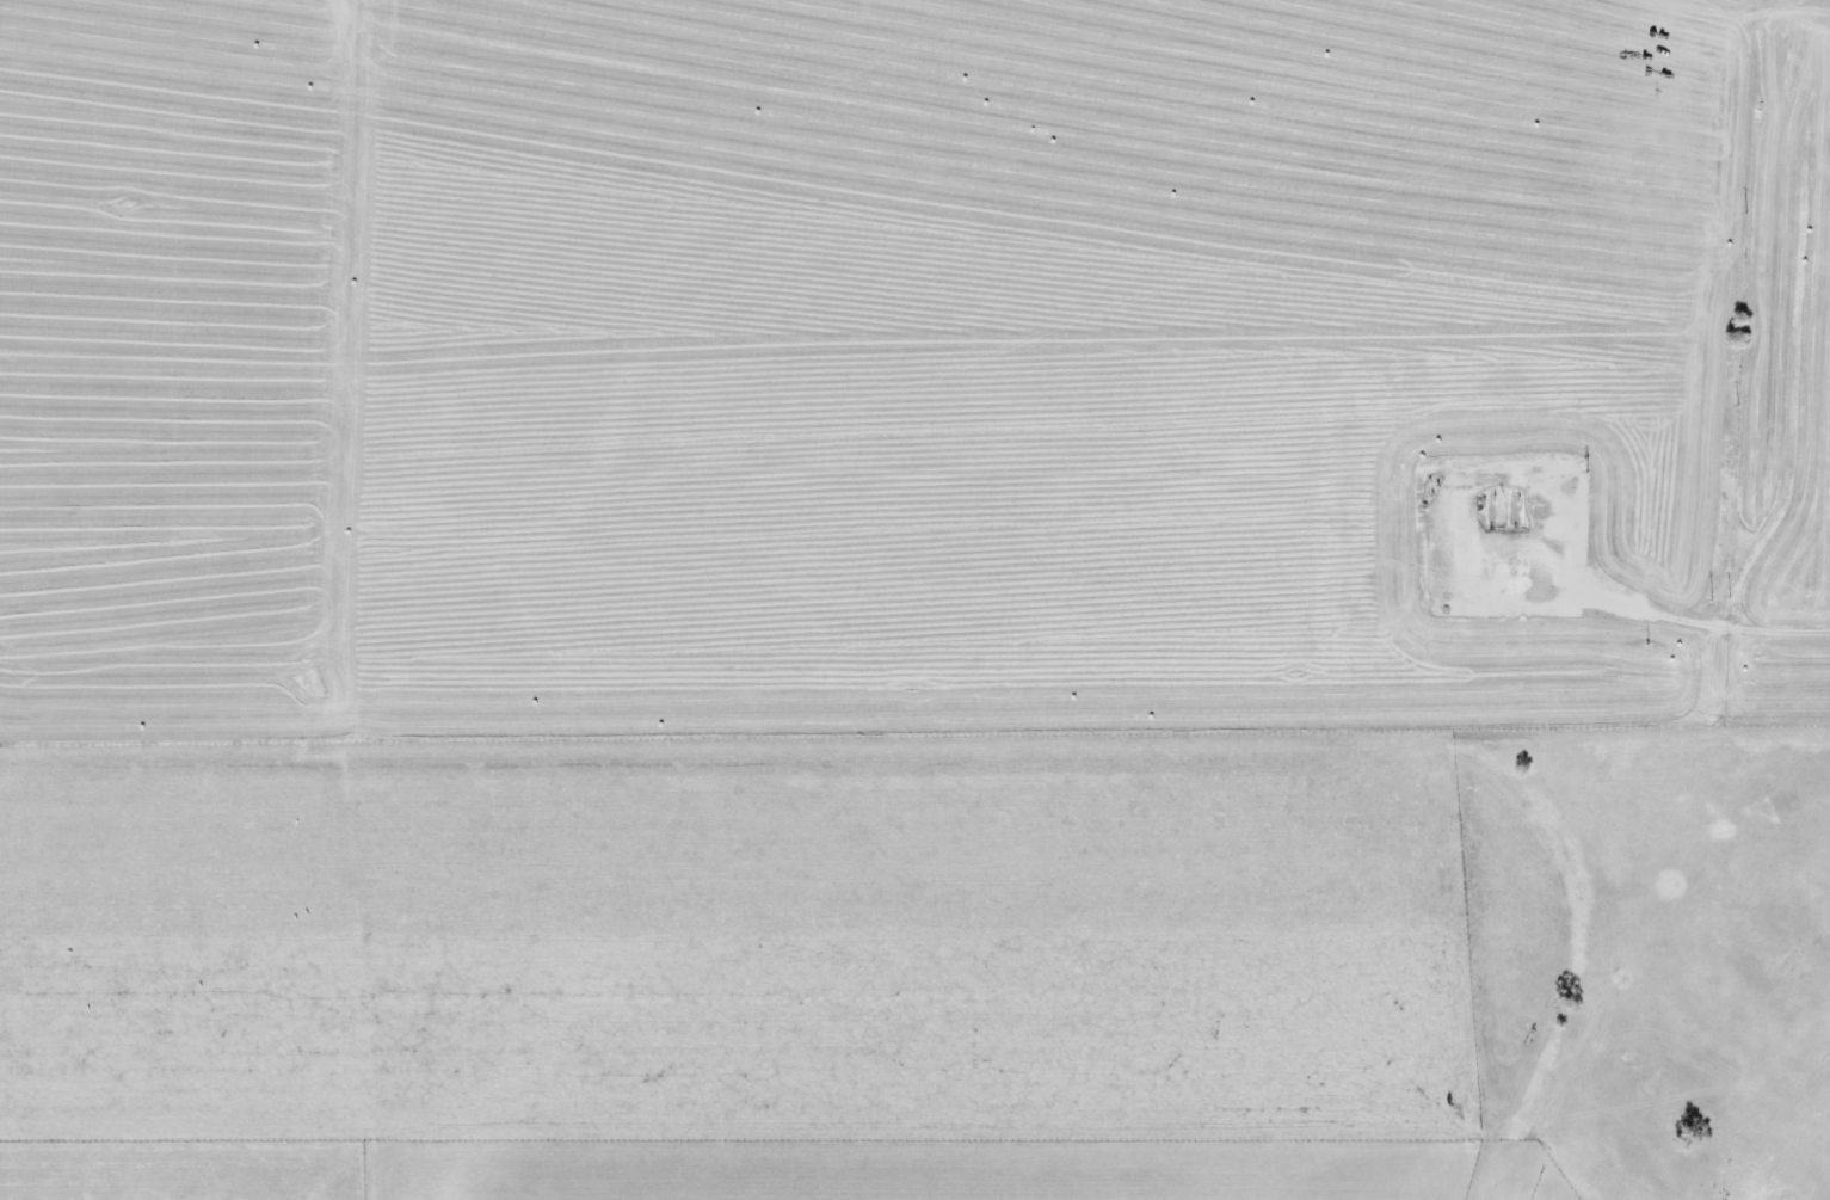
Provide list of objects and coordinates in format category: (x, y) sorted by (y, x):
petroleum well: (1491, 528)
road: (1660, 616)

